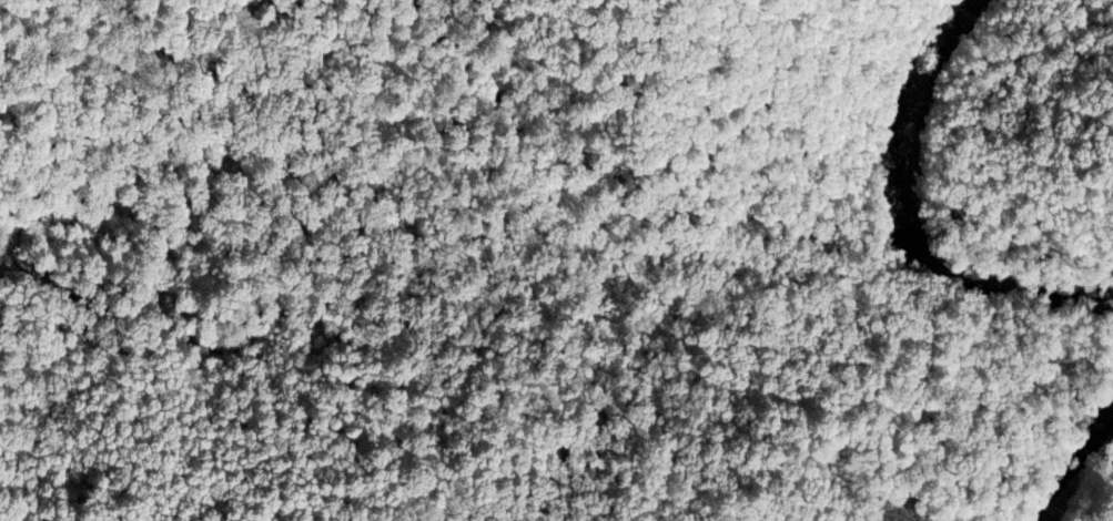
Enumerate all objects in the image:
river: (938, 125)
road: (1009, 159)
river: (1026, 299)
river: (1089, 493)

